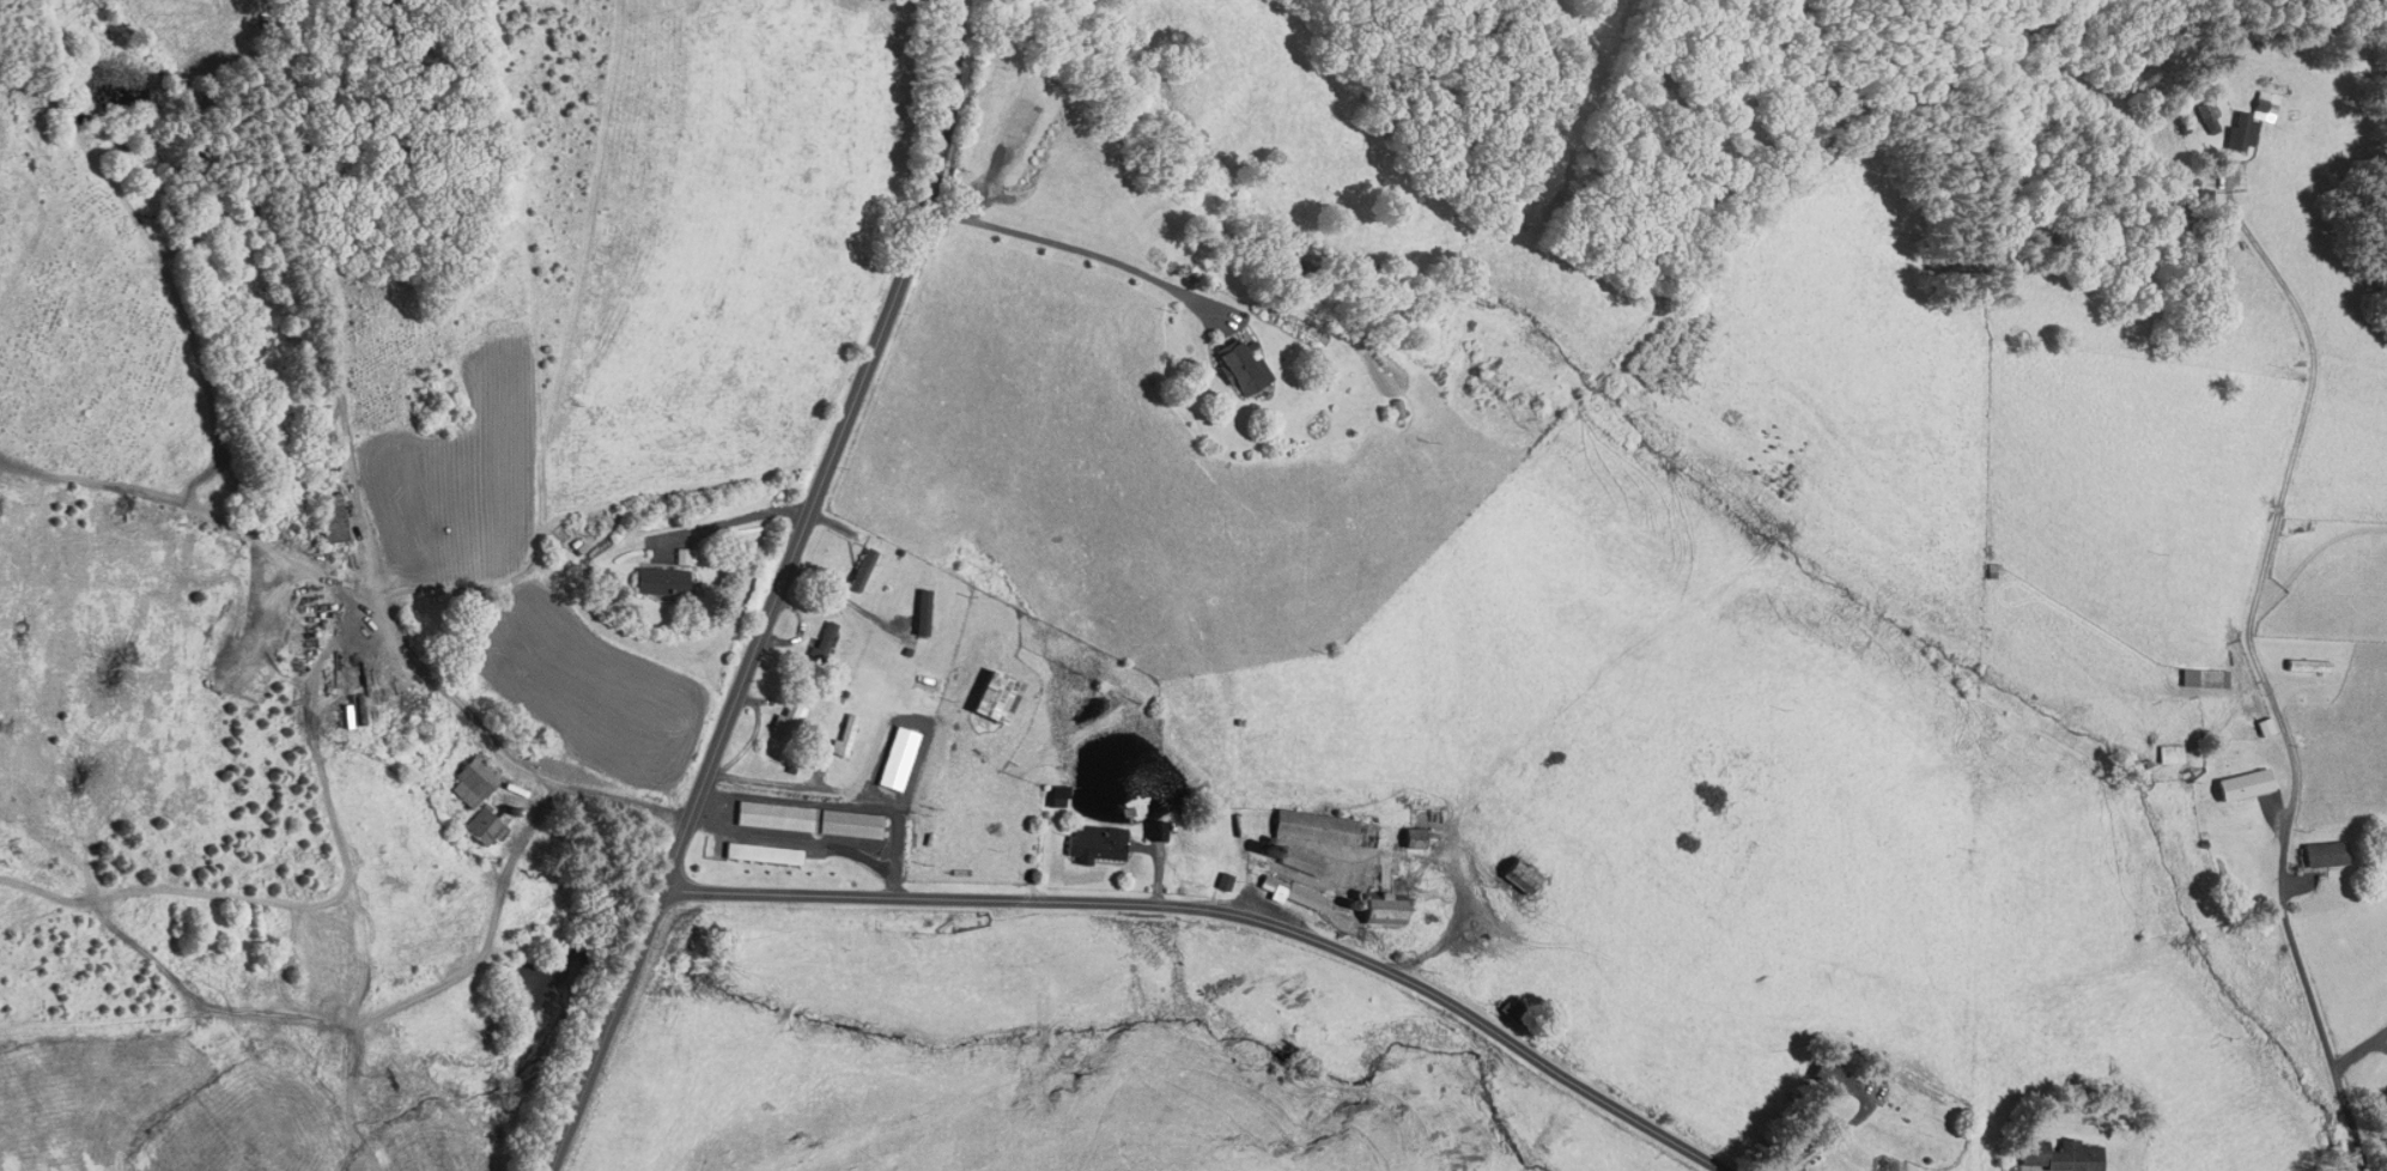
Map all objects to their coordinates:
building: (1035, 114)
building: (2235, 120)
building: (1085, 162)
building: (1240, 365)
building: (340, 520)
building: (861, 569)
building: (870, 569)
building: (660, 581)
road: (777, 591)
building: (921, 609)
building: (931, 611)
building: (824, 639)
road: (2252, 656)
building: (2302, 666)
building: (2197, 679)
building: (994, 693)
building: (789, 712)
building: (845, 733)
building: (852, 735)
building: (2164, 754)
building: (894, 756)
building: (475, 781)
road: (788, 783)
building: (2237, 785)
building: (1057, 794)
building: (775, 814)
building: (851, 823)
building: (1316, 825)
building: (1156, 830)
building: (1414, 836)
building: (1095, 841)
building: (763, 851)
building: (2319, 856)
building: (1300, 857)
building: (1520, 873)
building: (1223, 879)
building: (1292, 890)
building: (1381, 908)
road: (1223, 914)
building: (1516, 1008)
road: (2359, 1049)
building: (1815, 1073)
building: (1894, 1112)
building: (2381, 1129)
building: (2053, 1157)

